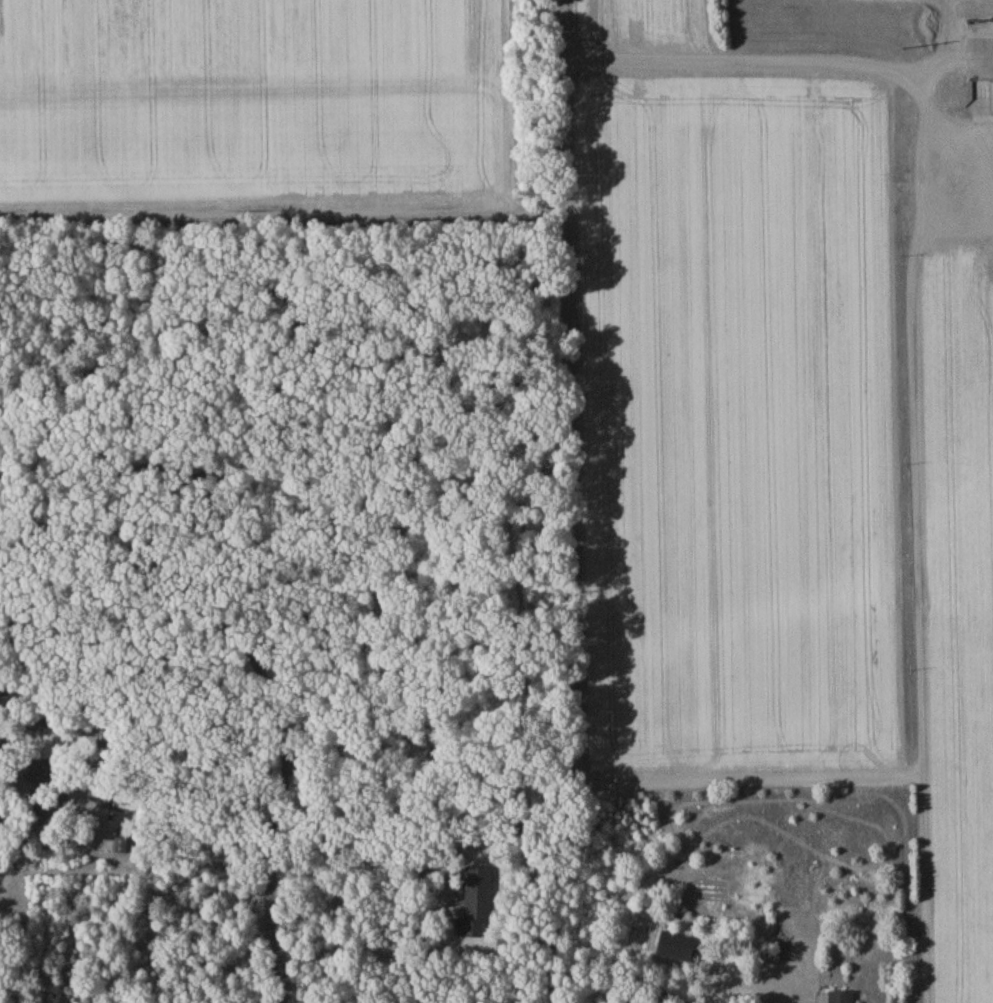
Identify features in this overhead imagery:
building: (992, 100)
road: (562, 161)
road: (919, 581)
building: (109, 798)
building: (121, 847)
road: (6, 884)
road: (546, 927)
building: (678, 950)
building: (842, 998)

